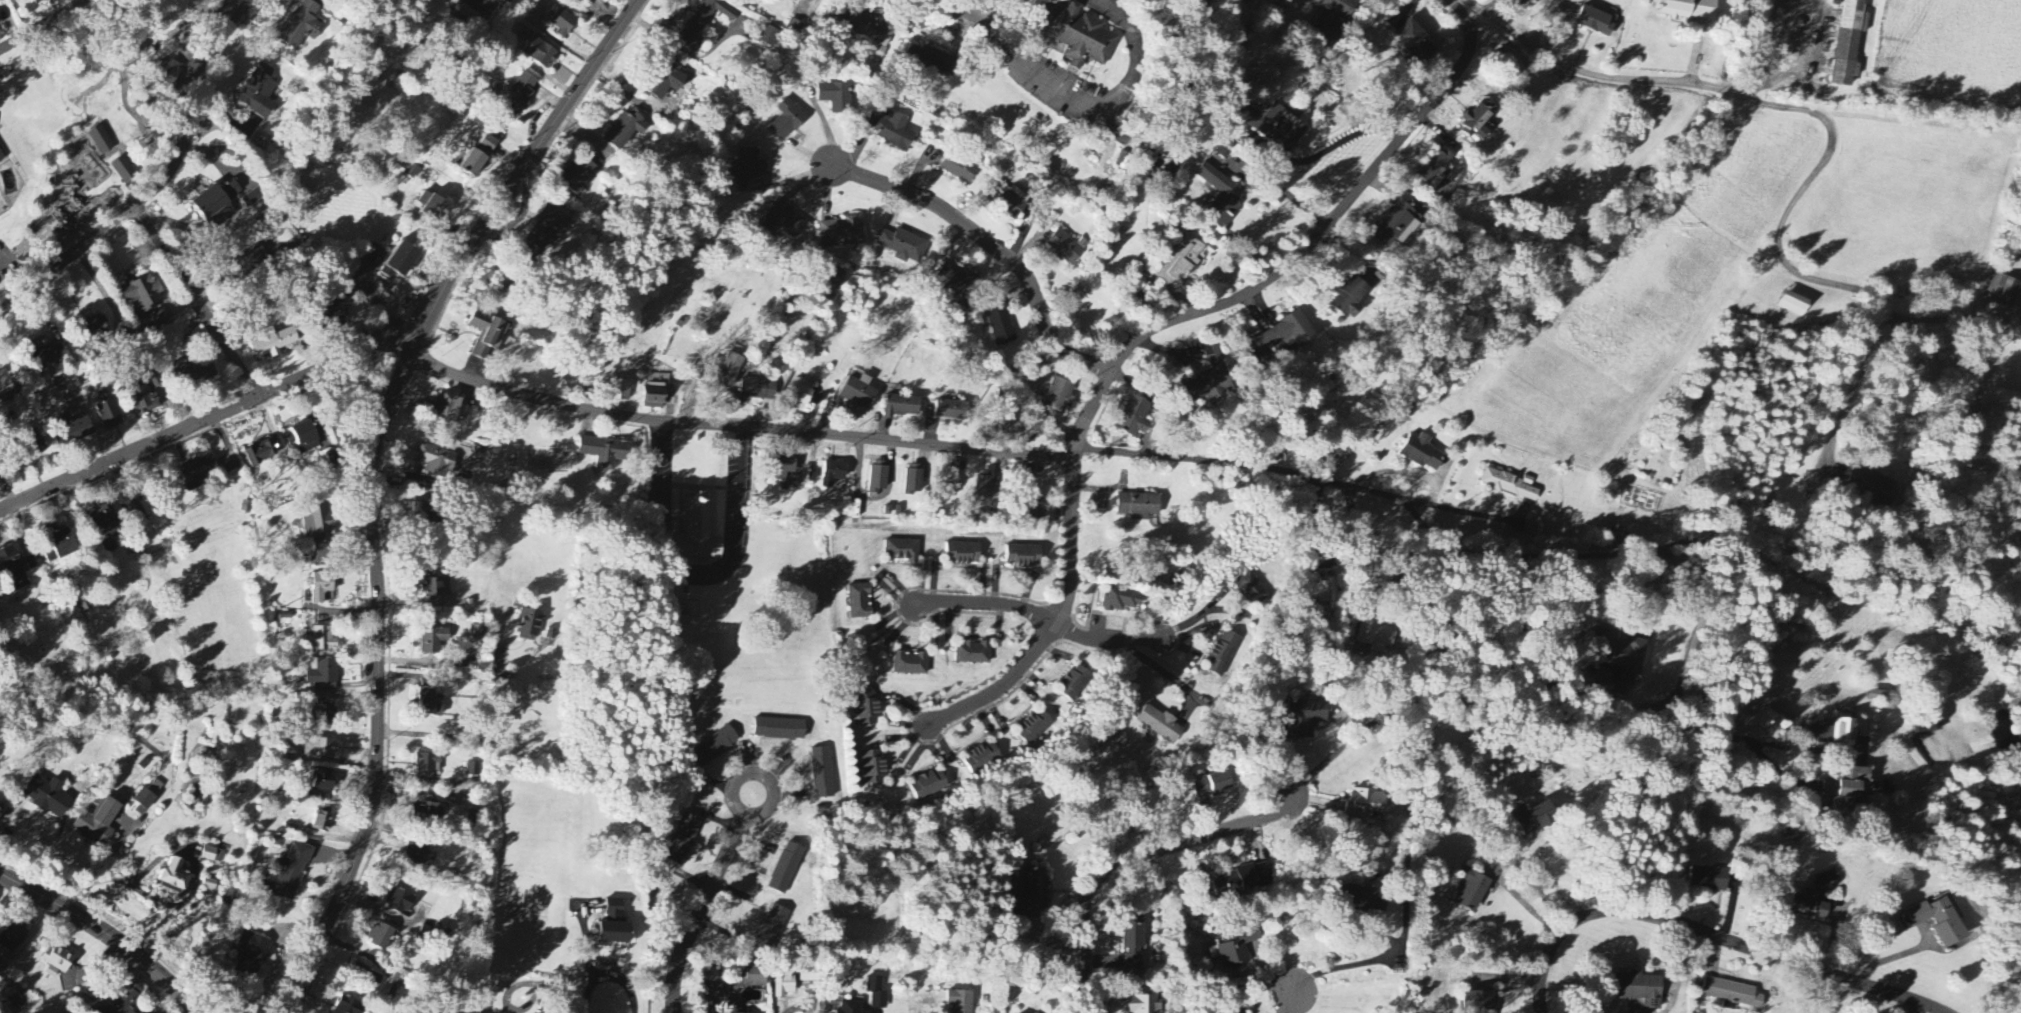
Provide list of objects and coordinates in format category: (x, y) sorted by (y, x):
building: (612, 1)
building: (39, 2)
building: (1691, 9)
building: (1333, 19)
road: (29, 21)
road: (956, 21)
building: (1596, 21)
building: (562, 22)
building: (705, 23)
building: (302, 26)
building: (794, 28)
building: (871, 30)
building: (769, 37)
building: (1080, 37)
building: (1850, 42)
building: (1416, 43)
building: (539, 53)
building: (930, 59)
road: (1794, 61)
building: (167, 75)
building: (667, 83)
road: (1073, 90)
building: (259, 93)
building: (519, 97)
building: (835, 98)
road: (186, 104)
road: (1779, 106)
park: (88, 119)
building: (787, 121)
building: (1477, 122)
building: (1279, 128)
building: (625, 131)
building: (893, 132)
building: (101, 141)
road: (1336, 144)
building: (488, 145)
building: (1, 158)
building: (474, 165)
building: (1434, 168)
building: (410, 170)
building: (958, 170)
building: (124, 172)
building: (750, 173)
building: (578, 177)
road: (1289, 195)
building: (1221, 197)
building: (1008, 201)
building: (217, 206)
building: (434, 208)
building: (786, 221)
building: (1396, 223)
building: (49, 230)
building: (548, 230)
building: (842, 233)
building: (902, 245)
road: (992, 245)
building: (1066, 247)
road: (1299, 252)
road: (68, 259)
building: (252, 260)
building: (404, 260)
building: (1181, 260)
building: (388, 273)
road: (1984, 281)
building: (957, 286)
building: (2004, 291)
building: (143, 294)
building: (1350, 299)
road: (199, 302)
building: (1795, 305)
building: (335, 315)
building: (158, 319)
road: (1934, 320)
building: (1001, 327)
building: (93, 331)
building: (487, 334)
building: (1281, 338)
building: (271, 343)
road: (393, 344)
building: (48, 356)
building: (728, 370)
building: (196, 372)
building: (1213, 375)
building: (155, 380)
road: (1856, 383)
building: (6, 384)
building: (759, 390)
building: (620, 391)
building: (859, 393)
building: (802, 395)
building: (1059, 396)
building: (654, 397)
building: (143, 399)
building: (903, 406)
building: (447, 408)
building: (951, 411)
building: (108, 412)
building: (464, 413)
building: (1134, 418)
building: (1005, 420)
road: (737, 429)
building: (77, 430)
building: (35, 444)
building: (605, 452)
building: (1422, 452)
building: (261, 453)
building: (438, 462)
building: (783, 467)
building: (198, 474)
building: (833, 474)
road: (1296, 474)
building: (879, 477)
building: (914, 480)
building: (1511, 485)
building: (985, 486)
building: (1872, 486)
building: (131, 502)
building: (1139, 506)
building: (1037, 510)
building: (418, 513)
building: (106, 524)
building: (319, 524)
building: (700, 531)
building: (62, 545)
building: (902, 550)
building: (963, 553)
road: (1599, 555)
building: (1023, 556)
building: (31, 563)
building: (12, 569)
road: (694, 573)
road: (1365, 580)
building: (321, 587)
building: (433, 589)
building: (1251, 589)
building: (1328, 590)
building: (1120, 599)
building: (860, 602)
road: (1041, 617)
road: (1054, 618)
building: (529, 625)
building: (478, 632)
building: (1376, 635)
building: (321, 640)
building: (433, 640)
building: (974, 653)
building: (1223, 653)
building: (1627, 657)
building: (912, 664)
building: (322, 675)
road: (378, 676)
building: (1074, 683)
building: (431, 702)
road: (1495, 706)
building: (868, 709)
building: (325, 714)
building: (1306, 717)
building: (1926, 723)
building: (1161, 725)
building: (1034, 727)
building: (780, 729)
building: (1846, 732)
road: (484, 735)
road: (1788, 745)
building: (714, 747)
building: (319, 748)
building: (982, 757)
building: (428, 764)
building: (874, 767)
road: (1776, 768)
building: (473, 769)
building: (822, 773)
road: (760, 774)
building: (324, 782)
building: (1213, 784)
building: (929, 785)
building: (1847, 787)
building: (155, 788)
building: (195, 795)
building: (48, 796)
building: (145, 799)
building: (1366, 803)
building: (427, 814)
building: (1536, 818)
building: (98, 821)
building: (321, 822)
building: (683, 840)
building: (420, 851)
building: (212, 855)
road: (1129, 861)
building: (786, 869)
road: (1523, 871)
building: (289, 873)
building: (175, 875)
building: (1244, 880)
building: (209, 885)
building: (170, 889)
building: (1473, 890)
building: (1035, 894)
building: (400, 901)
building: (1372, 901)
building: (1811, 905)
road: (379, 907)
road: (701, 912)
building: (1940, 921)
building: (615, 925)
building: (771, 931)
building: (437, 933)
road: (106, 934)
road: (1712, 934)
building: (13, 936)
building: (381, 937)
building: (1133, 942)
building: (1237, 948)
building: (252, 954)
building: (58, 961)
road: (1344, 968)
building: (809, 974)
building: (367, 976)
road: (610, 976)
building: (754, 977)
building: (398, 982)
building: (784, 986)
building: (1642, 989)
building: (877, 993)
building: (1732, 993)
building: (124, 998)
building: (960, 1002)
building: (1480, 1002)
building: (1143, 1004)
road: (1290, 1004)
building: (349, 1006)
building: (851, 1007)
road: (798, 1008)

